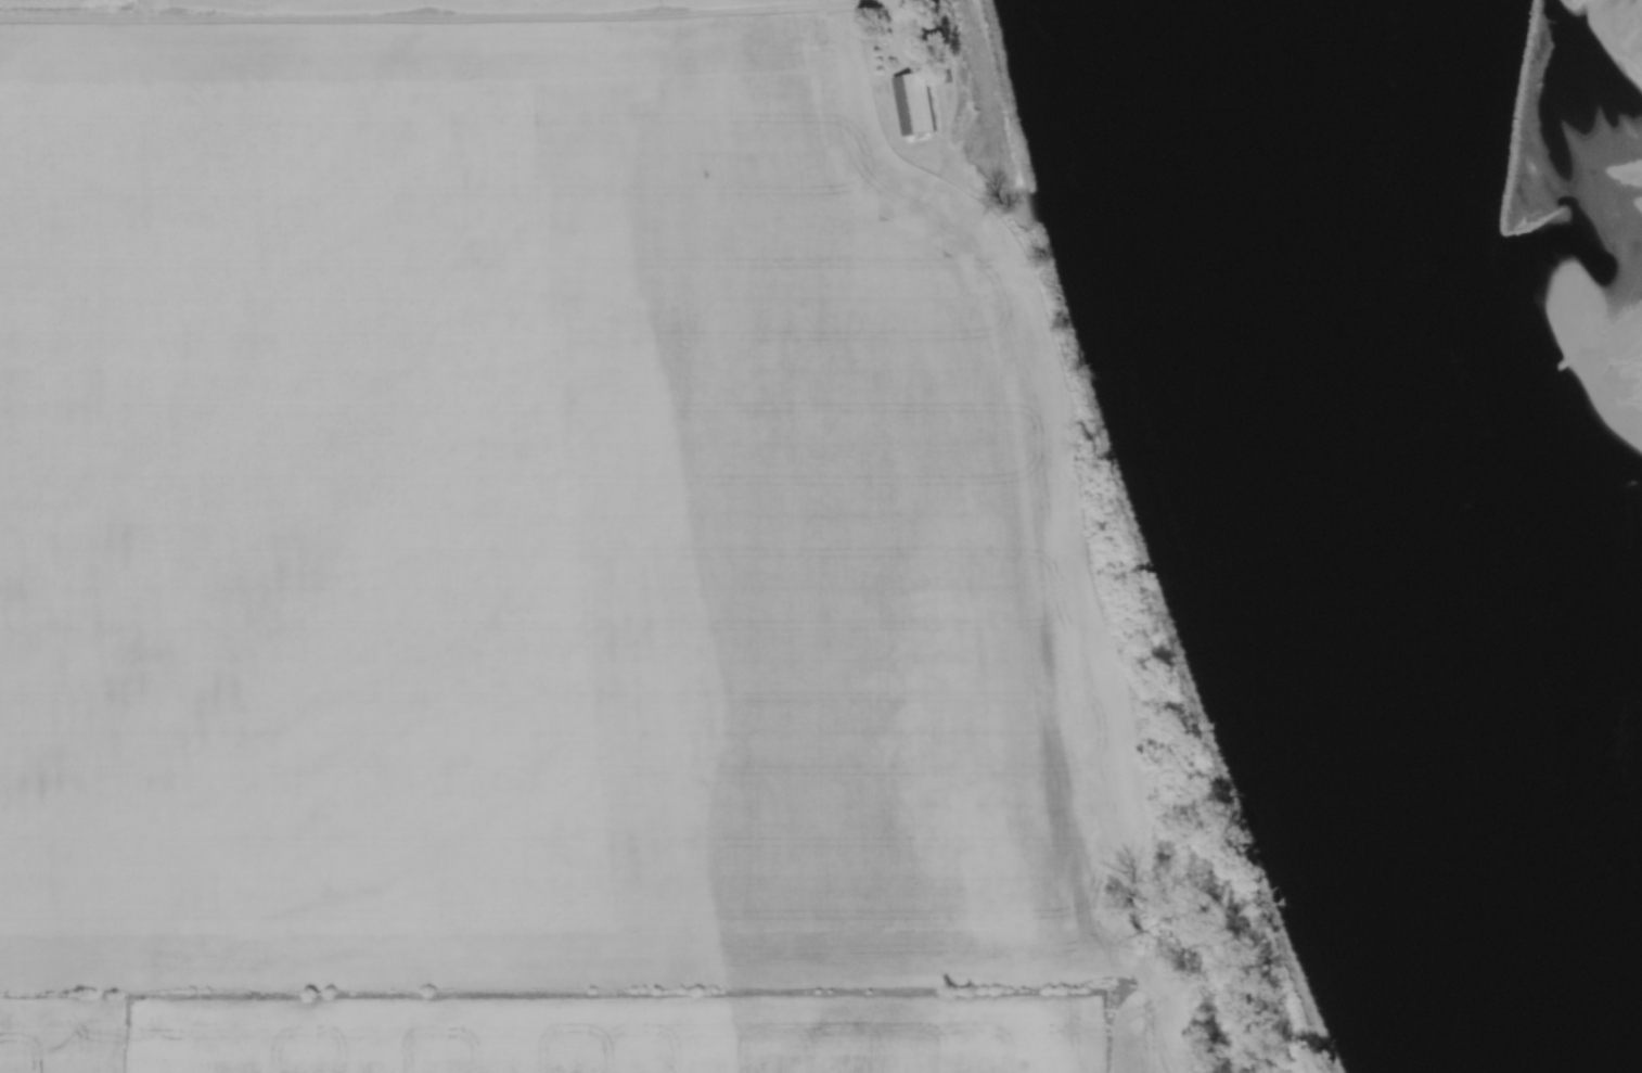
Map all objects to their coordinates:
road: (921, 66)
building: (923, 104)
river: (1395, 536)

